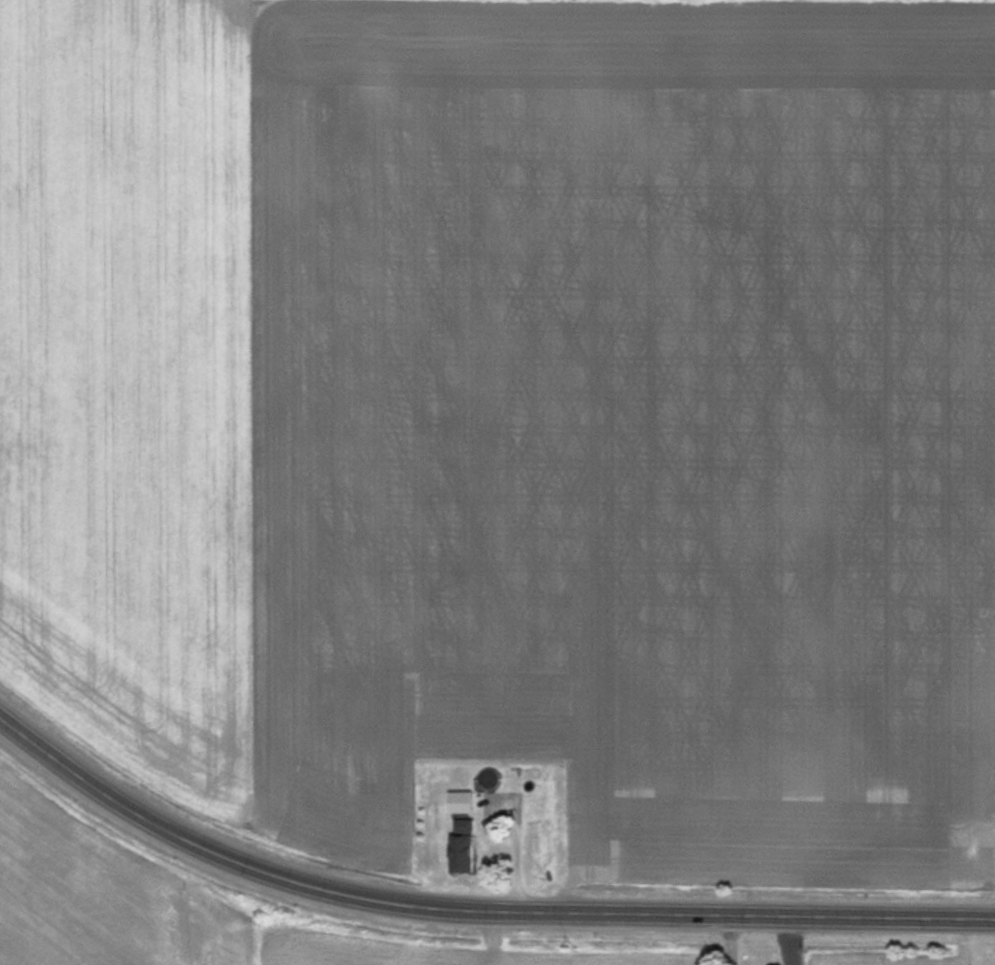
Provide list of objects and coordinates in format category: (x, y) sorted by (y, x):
building: (465, 845)
road: (473, 911)

